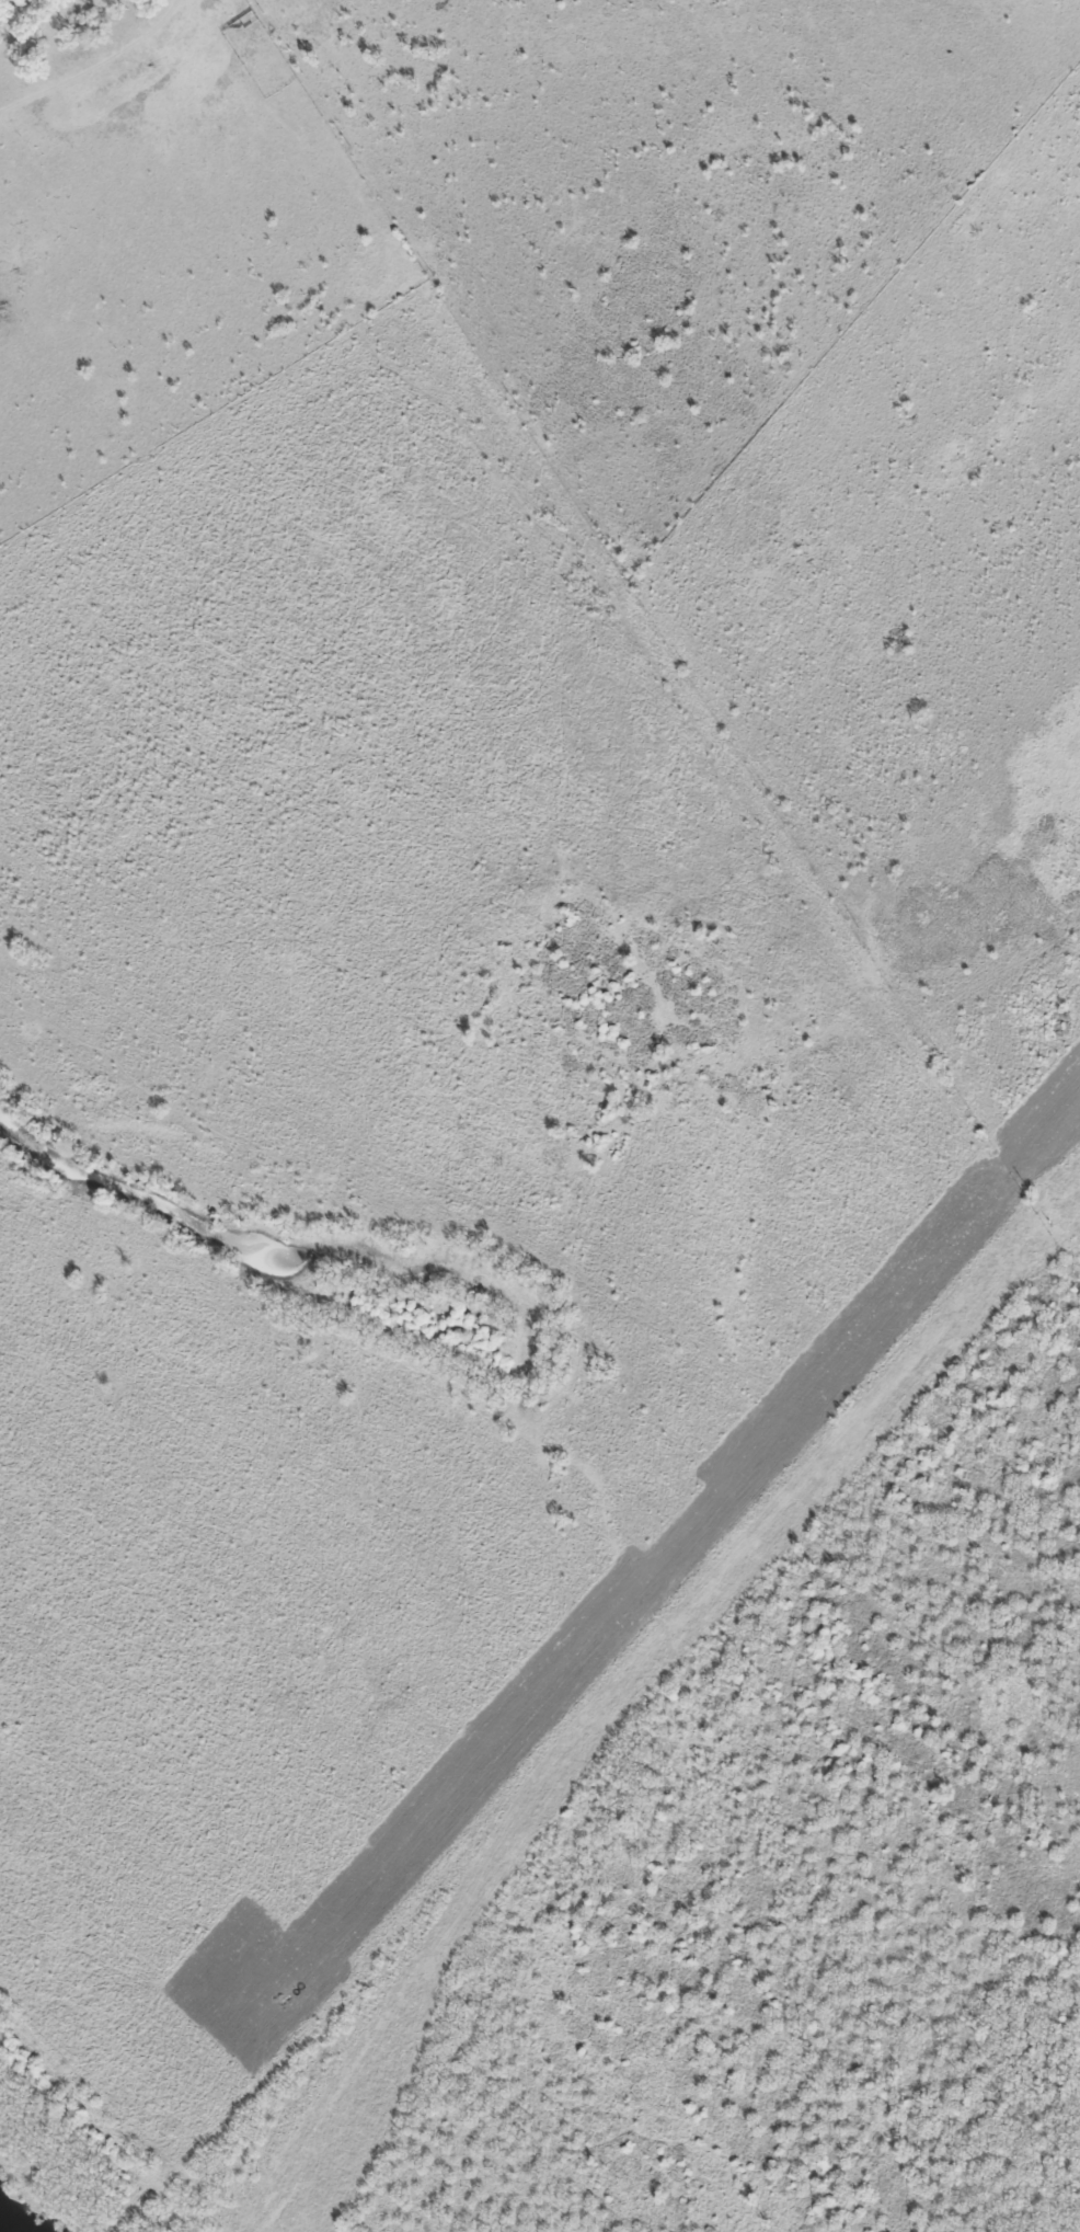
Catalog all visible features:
road: (444, 25)

